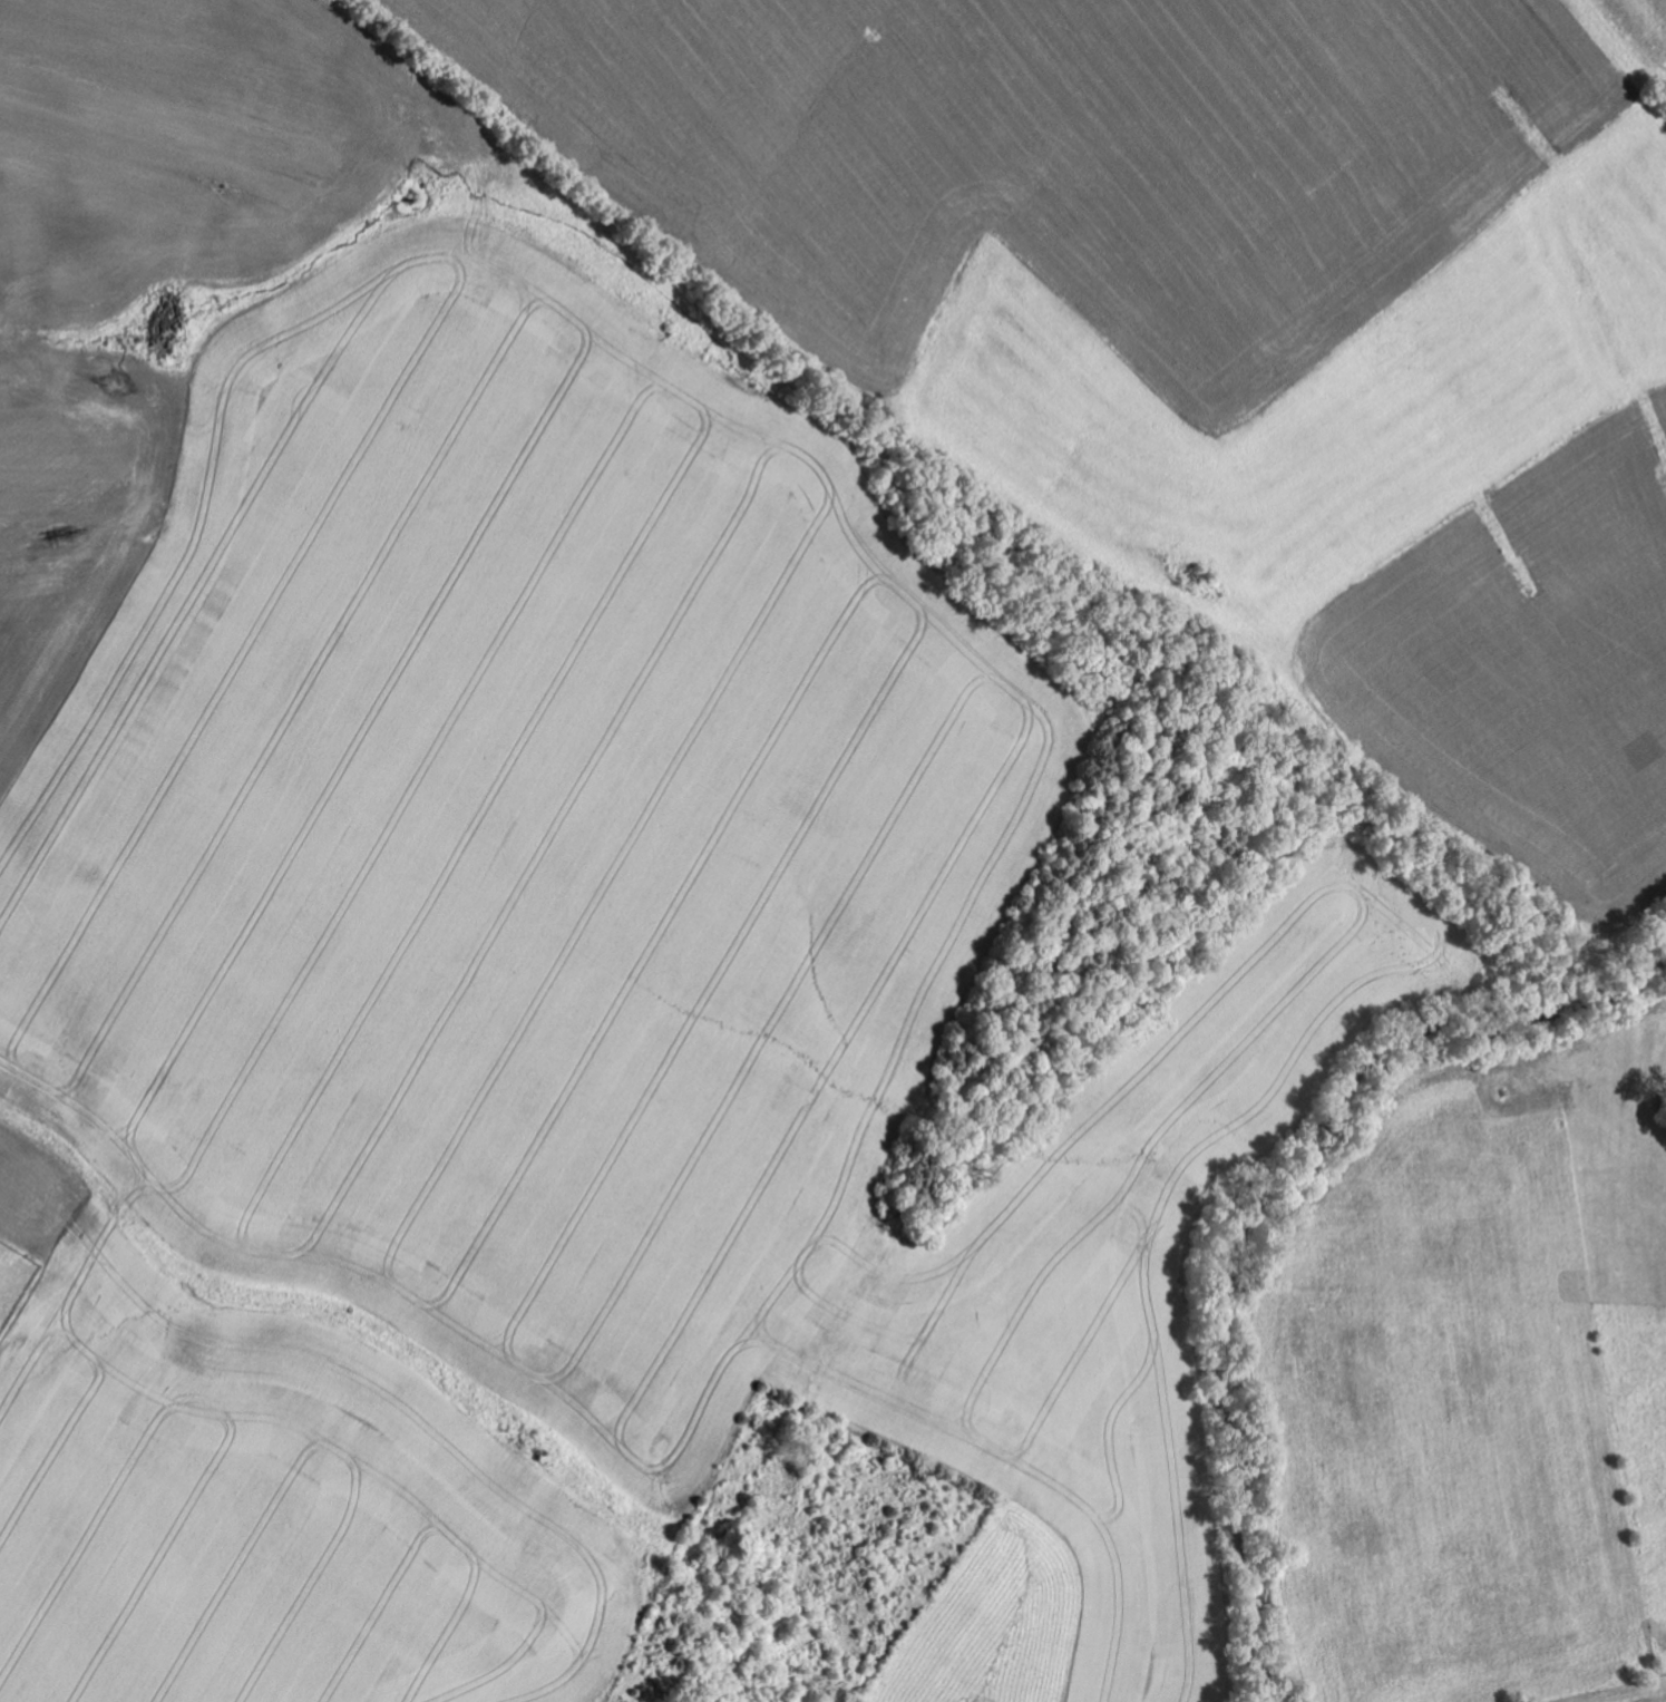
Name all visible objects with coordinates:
road: (858, 1682)

